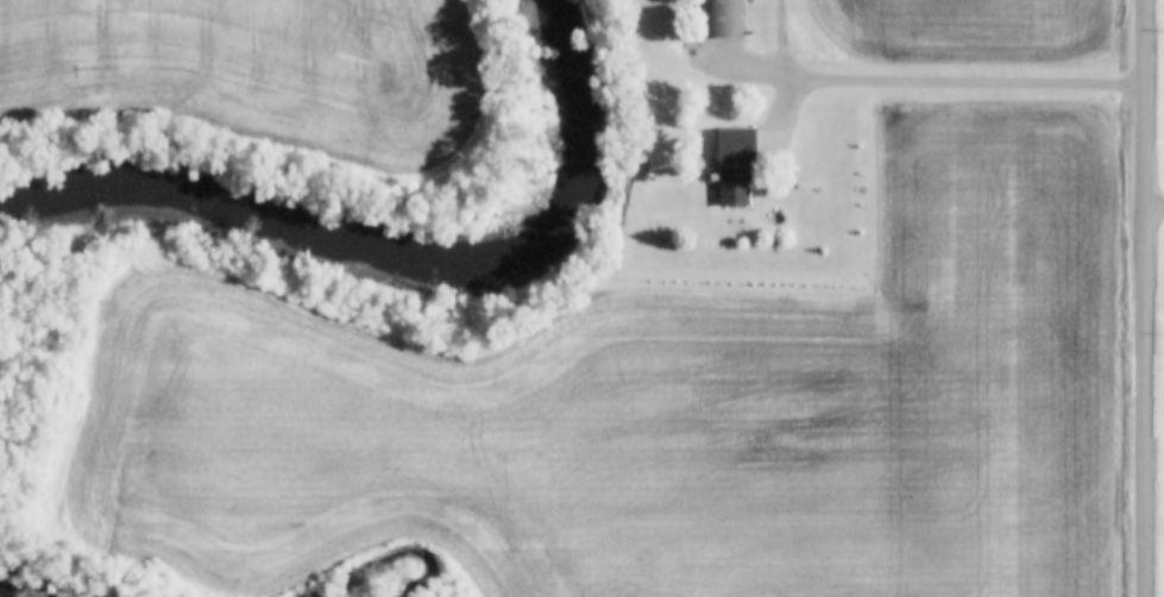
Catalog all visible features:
road: (924, 86)
building: (732, 166)
river: (407, 265)
road: (1143, 297)

